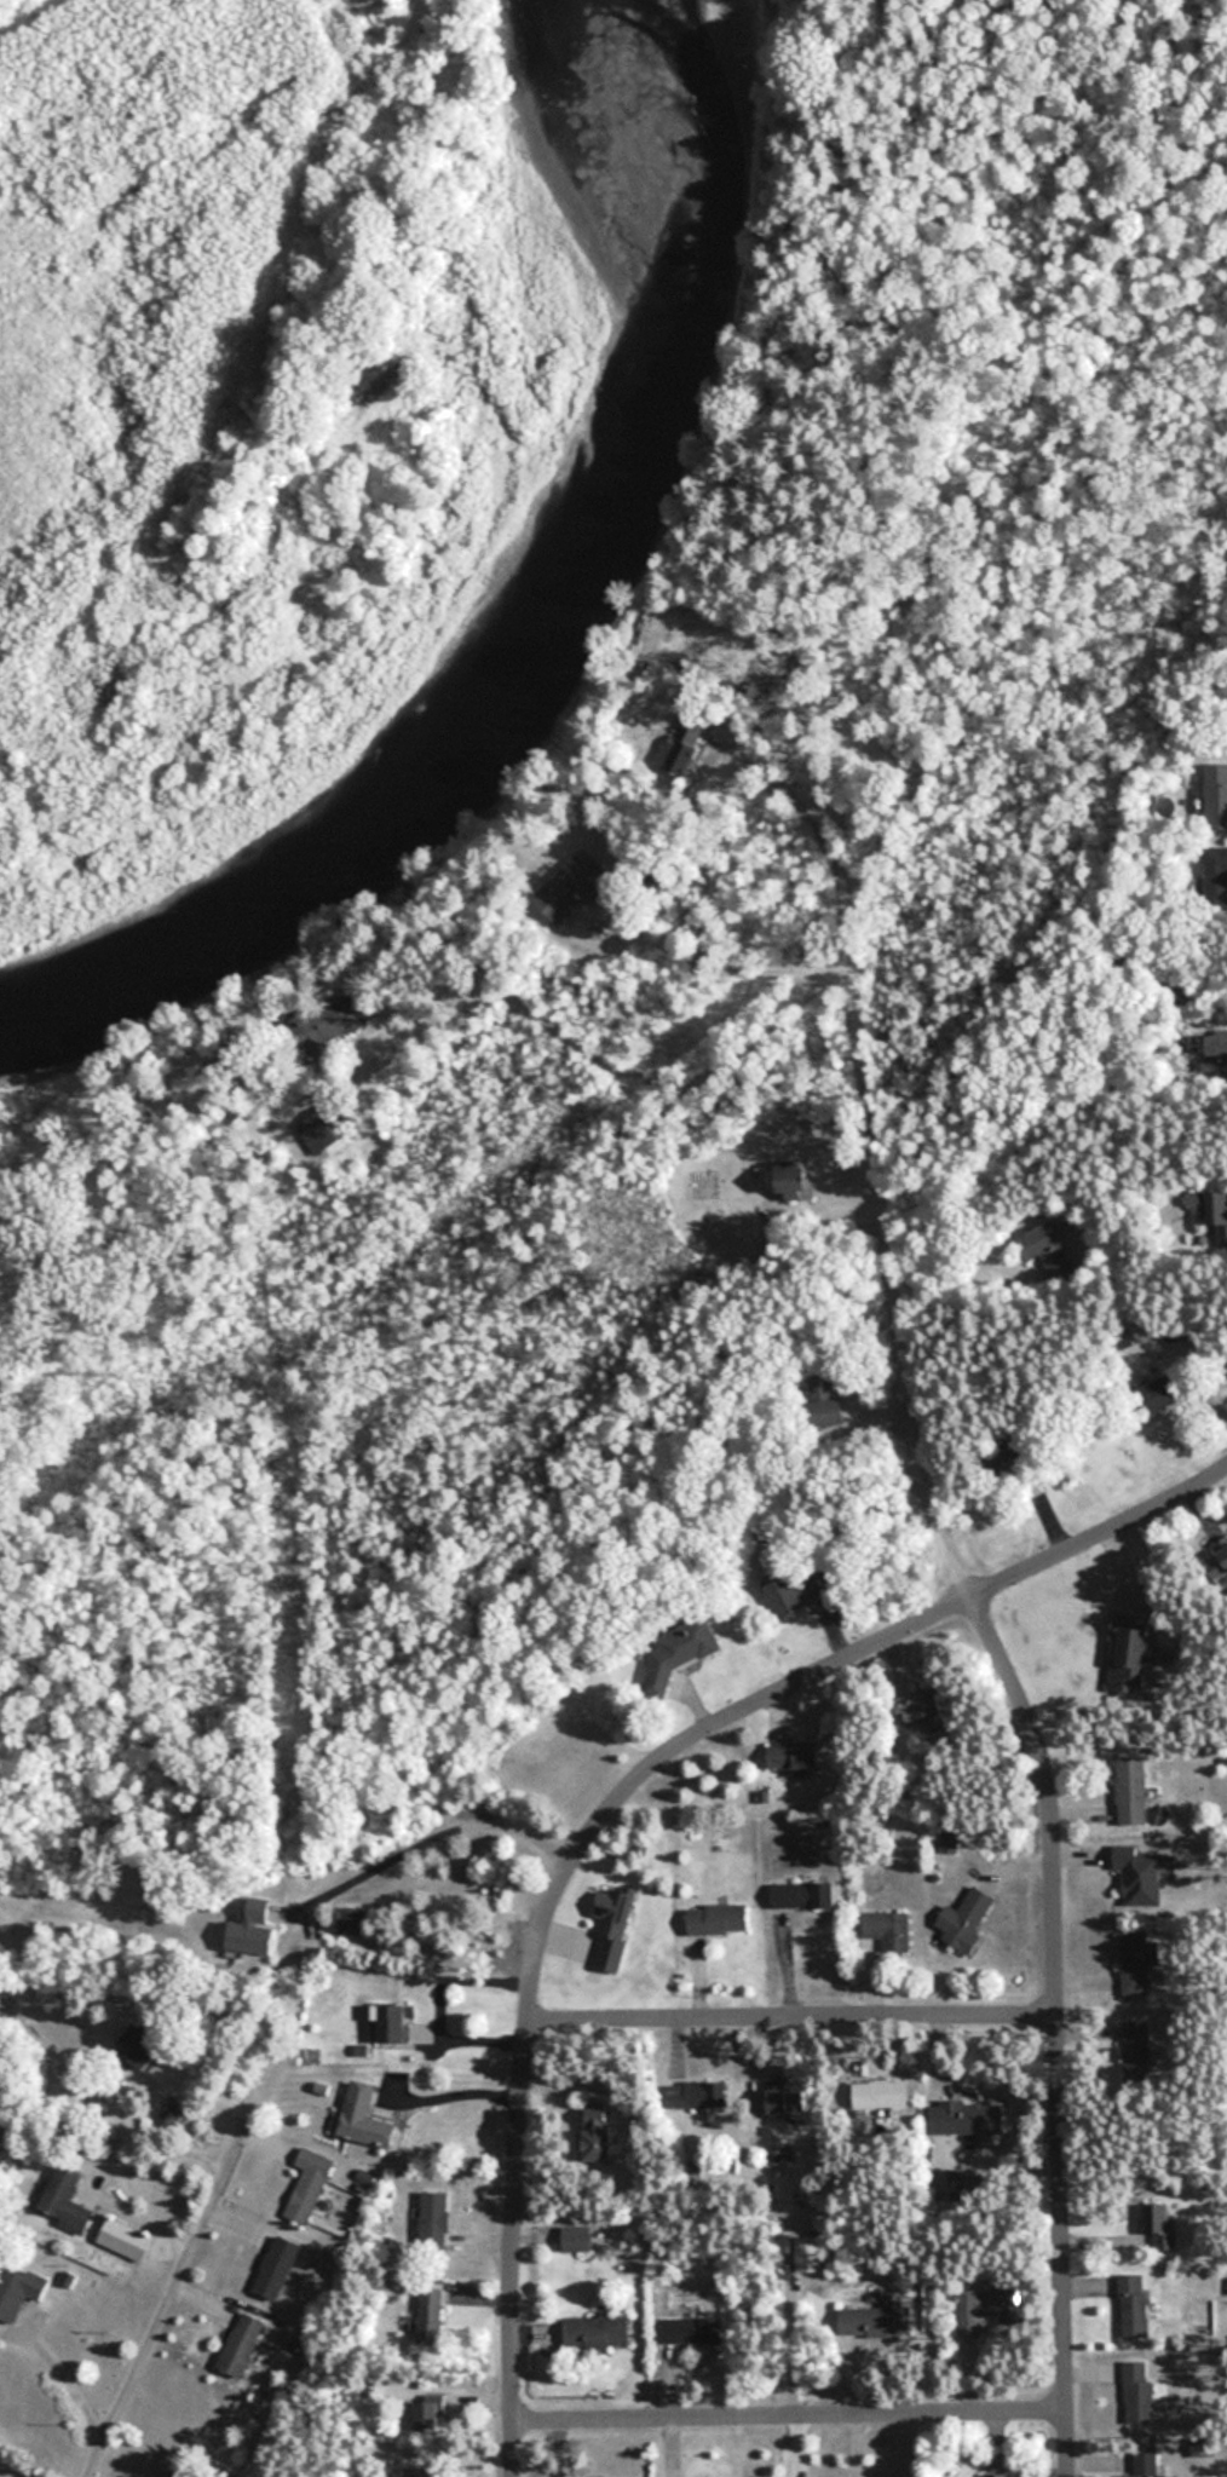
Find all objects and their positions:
river: (501, 617)
building: (684, 739)
building: (1216, 795)
road: (818, 828)
building: (1215, 872)
building: (576, 887)
road: (661, 941)
building: (329, 1021)
building: (1216, 1044)
road: (584, 1053)
building: (323, 1129)
building: (785, 1180)
building: (1209, 1206)
building: (1042, 1248)
building: (1158, 1395)
building: (823, 1399)
building: (1219, 1560)
building: (795, 1590)
building: (1130, 1652)
building: (678, 1653)
road: (1026, 1709)
building: (920, 1710)
building: (794, 1757)
building: (1131, 1790)
road: (606, 1792)
road: (426, 1824)
building: (1139, 1874)
building: (803, 1896)
building: (964, 1919)
building: (351, 1920)
building: (718, 1920)
building: (252, 1928)
building: (888, 1929)
building: (1135, 1959)
road: (793, 2015)
building: (393, 2022)
building: (1135, 2039)
building: (148, 2047)
building: (697, 2095)
building: (880, 2095)
building: (785, 2097)
building: (364, 2118)
building: (973, 2119)
building: (598, 2136)
building: (307, 2184)
building: (67, 2201)
building: (433, 2219)
building: (1162, 2229)
building: (125, 2240)
building: (277, 2266)
road: (166, 2289)
building: (19, 2291)
building: (990, 2304)
building: (1133, 2306)
building: (430, 2316)
building: (875, 2322)
building: (692, 2331)
building: (597, 2332)
building: (241, 2345)
road: (56, 2374)
building: (1140, 2398)
road: (791, 2413)
building: (427, 2416)
building: (427, 2471)
building: (174, 2475)
building: (996, 2475)
building: (1147, 2476)

